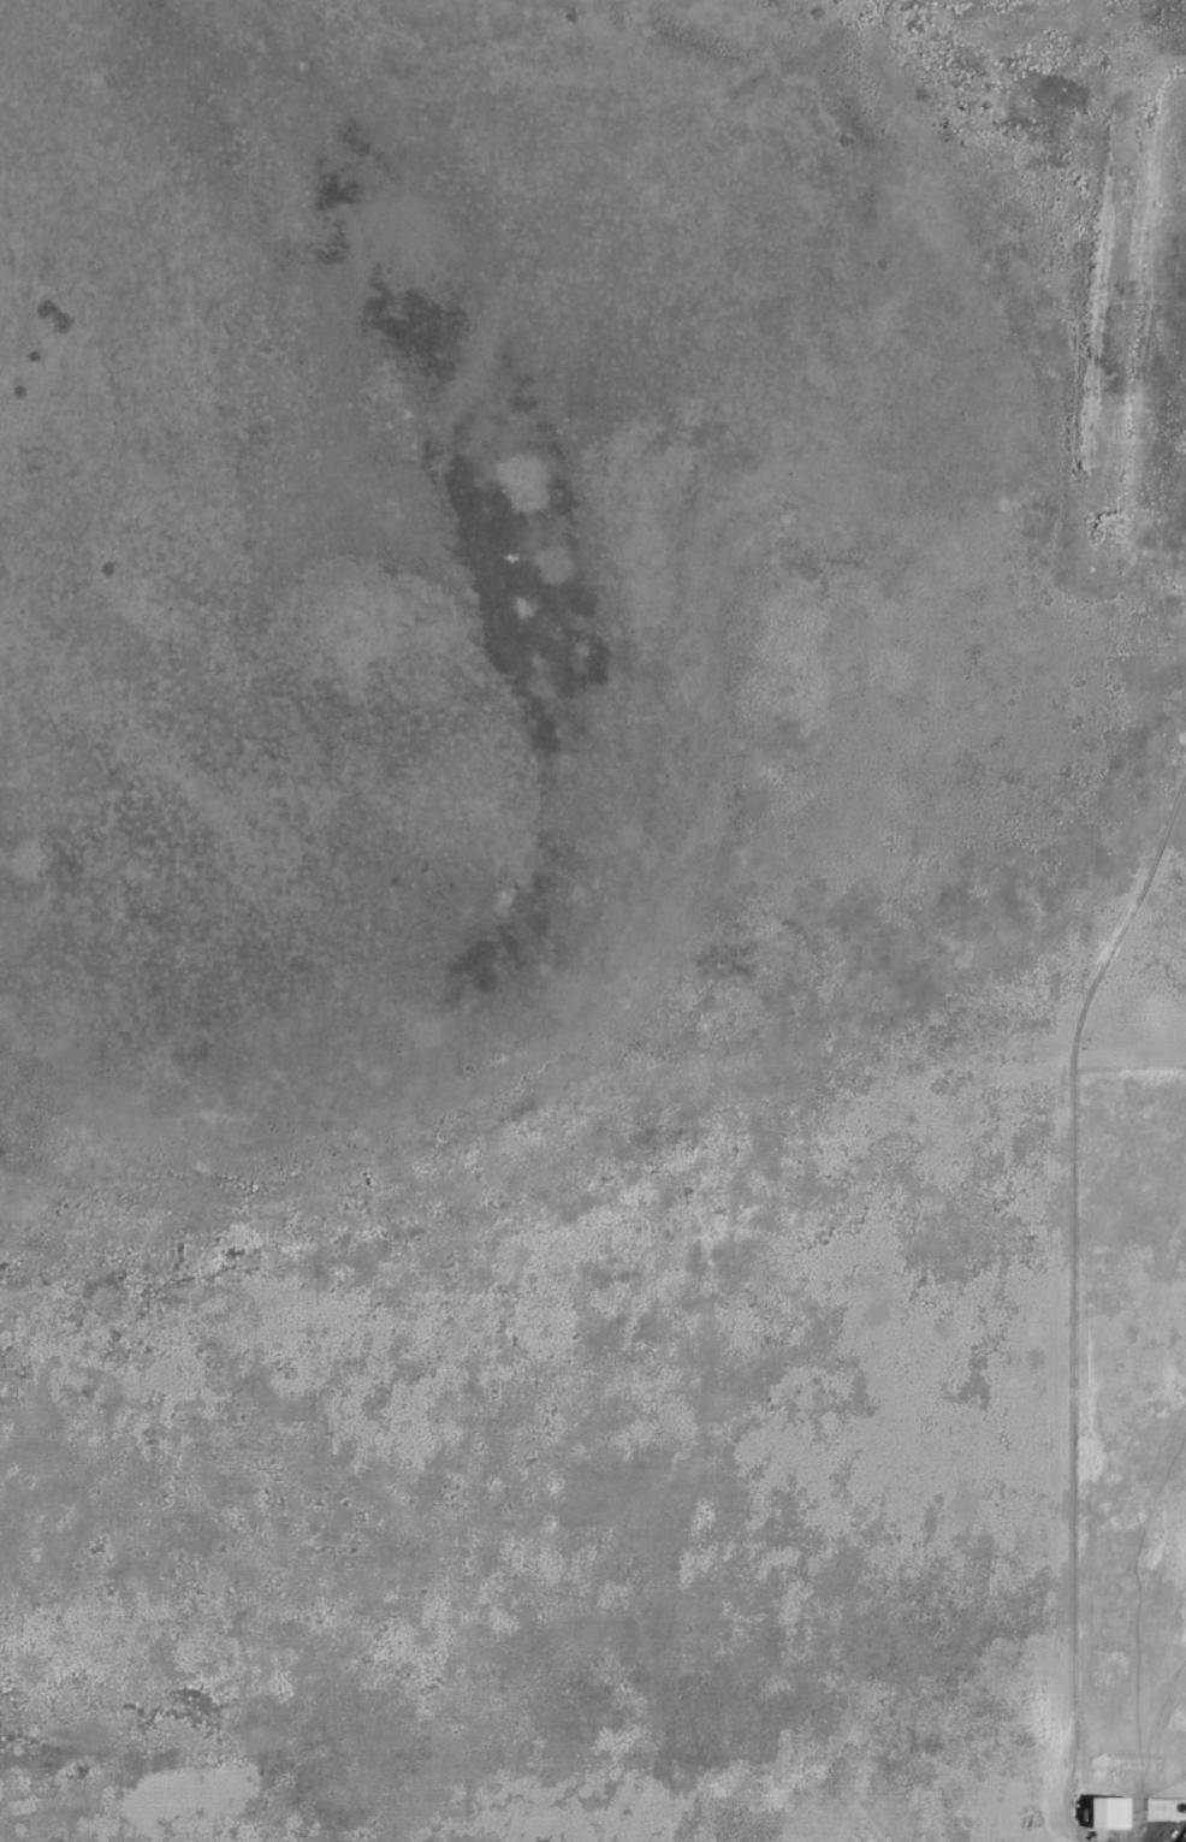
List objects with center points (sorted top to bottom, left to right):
building: (1101, 1811)

